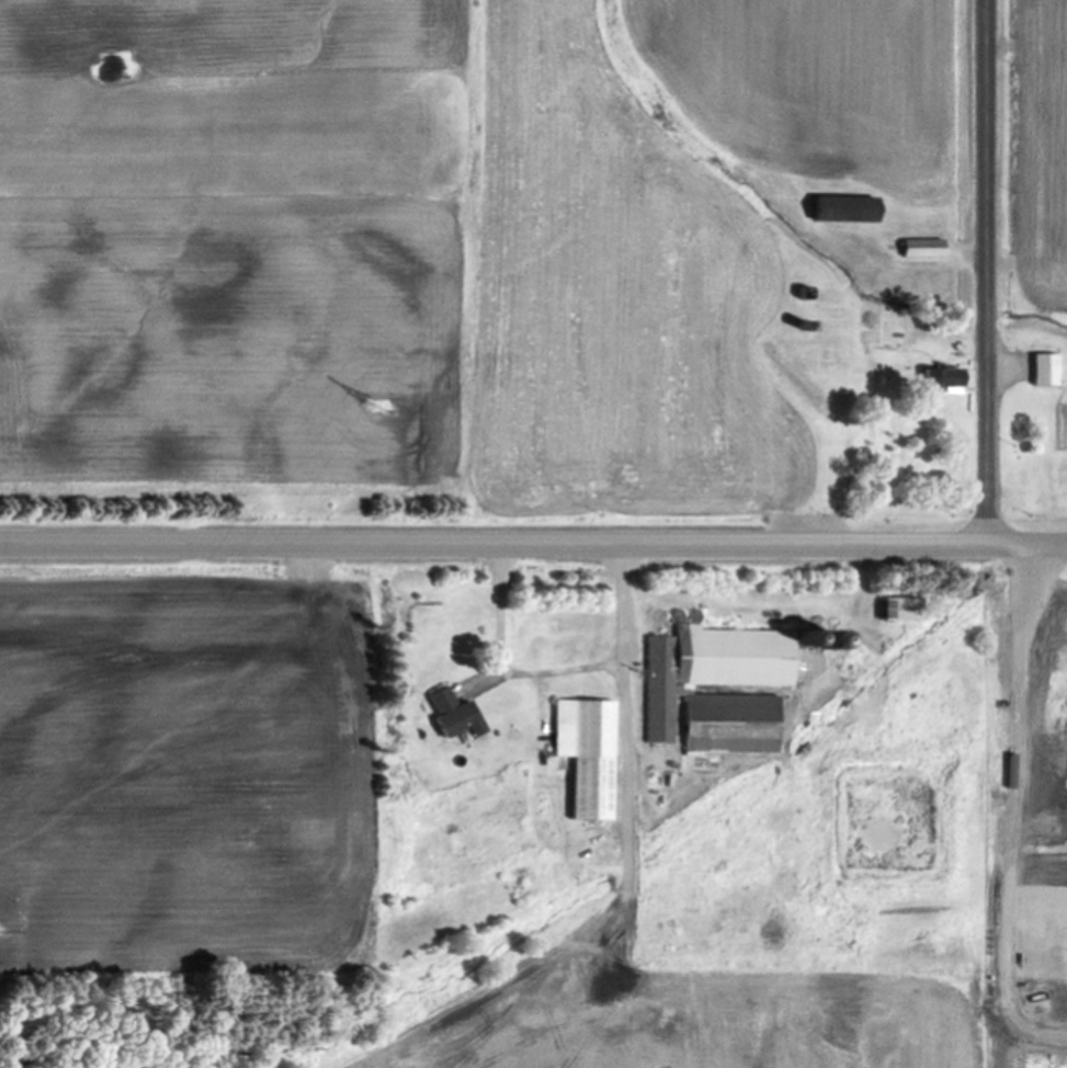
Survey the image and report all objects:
building: (839, 212)
building: (918, 250)
road: (985, 271)
building: (1041, 371)
building: (935, 382)
power tower: (391, 406)
road: (533, 544)
building: (897, 611)
road: (559, 669)
building: (723, 685)
building: (449, 716)
building: (582, 757)
solar farm: (730, 1022)

